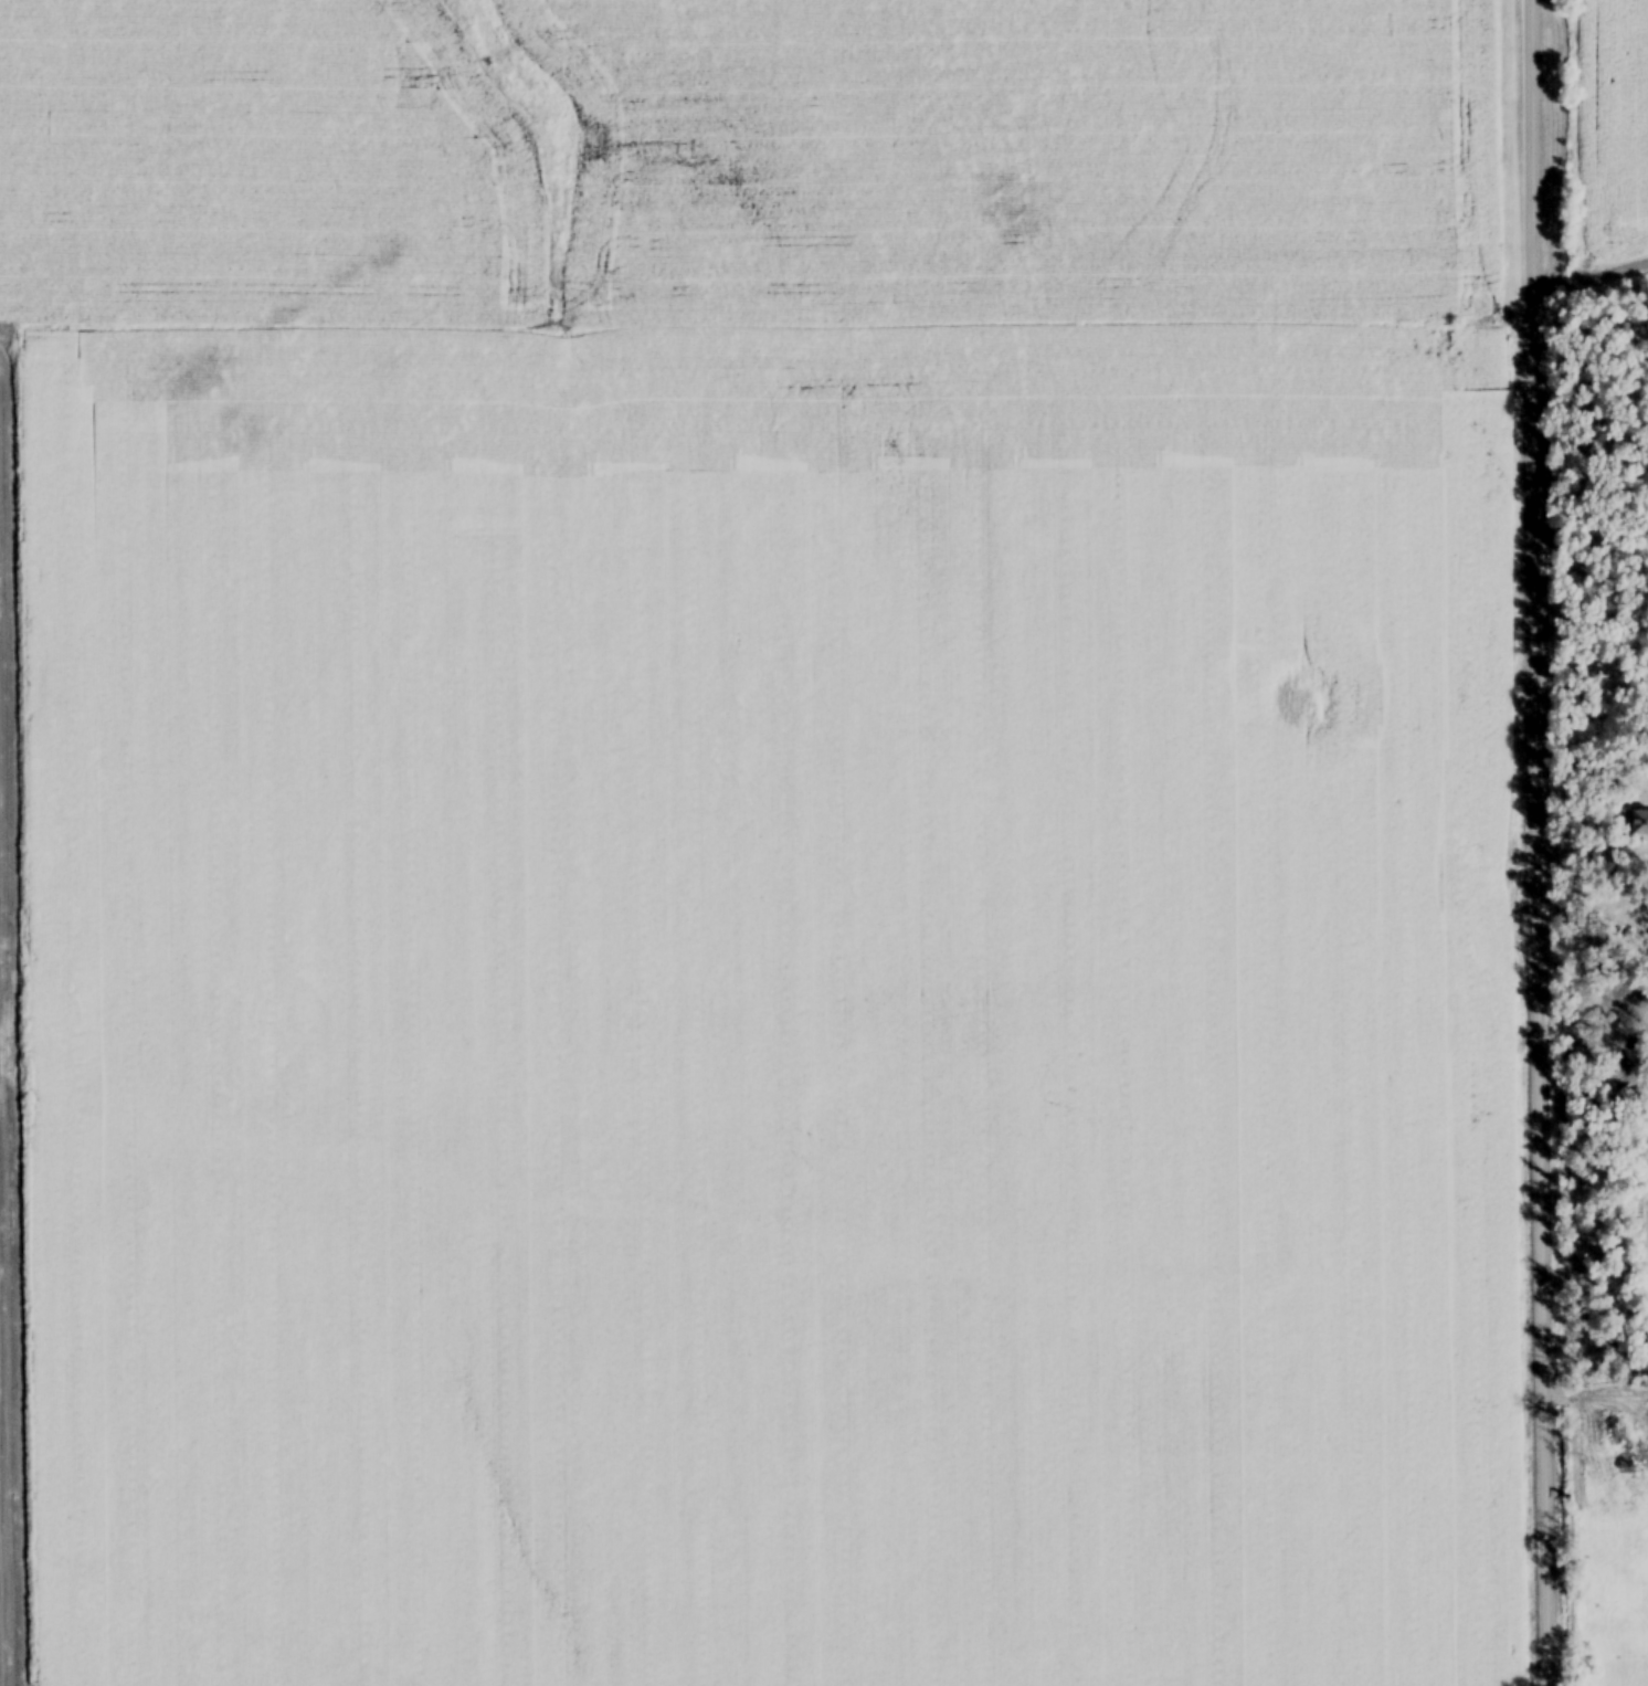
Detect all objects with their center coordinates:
road: (1591, 280)
building: (1634, 826)
road: (1538, 843)
road: (1593, 855)
road: (1594, 1013)

